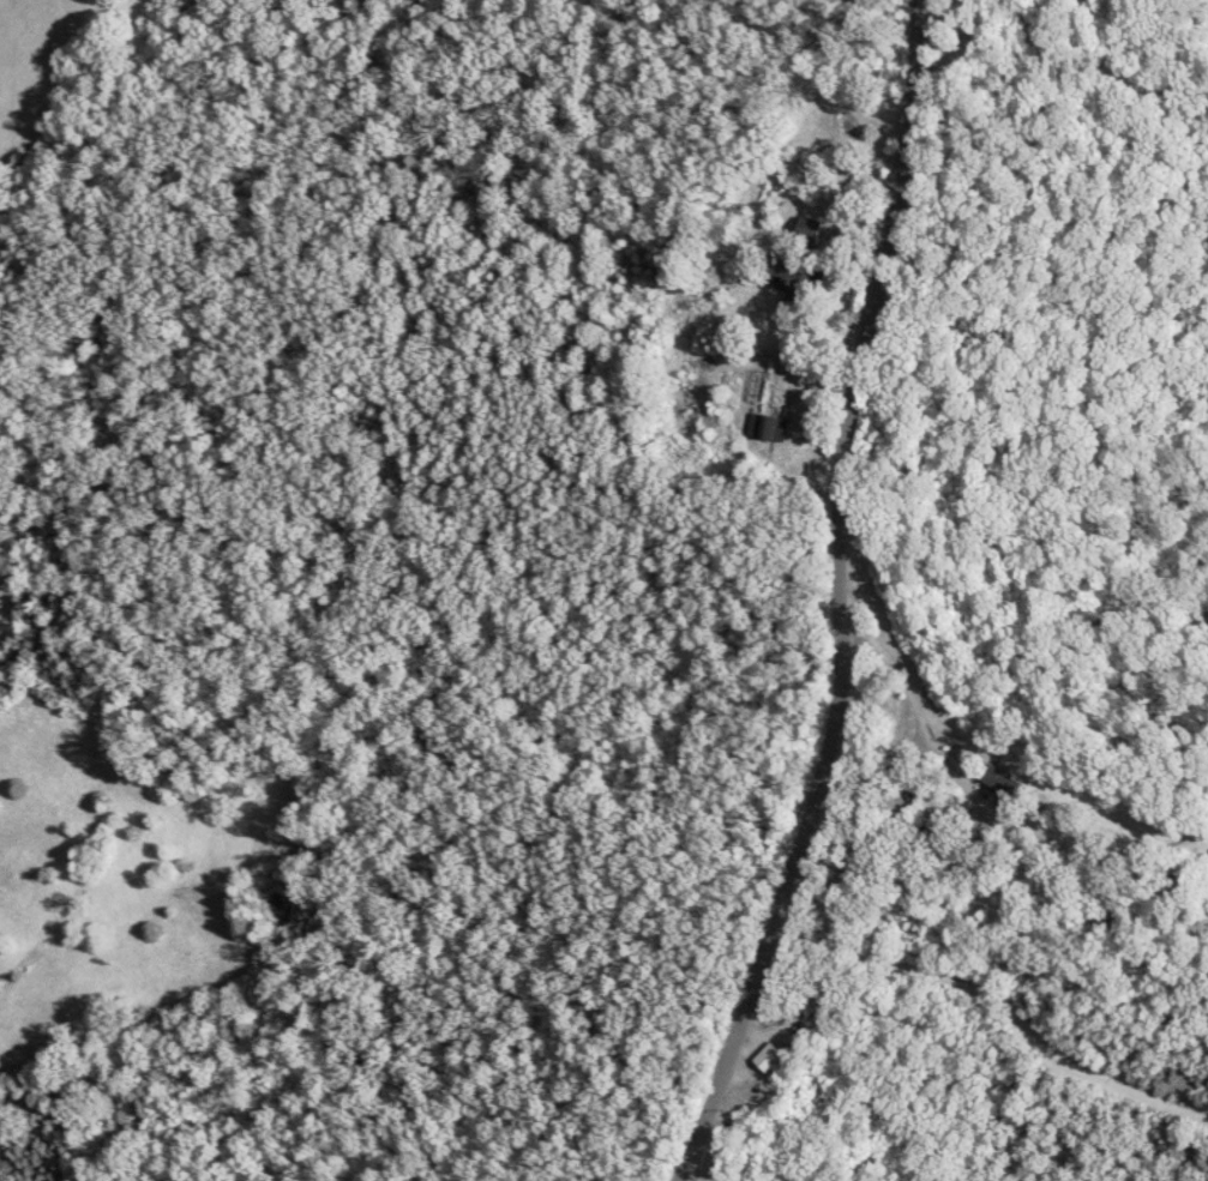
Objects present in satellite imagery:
road: (1122, 65)
building: (821, 229)
building: (798, 276)
building: (775, 428)
road: (836, 603)
road: (987, 775)
road: (817, 868)
road: (1011, 1007)
building: (774, 1056)

